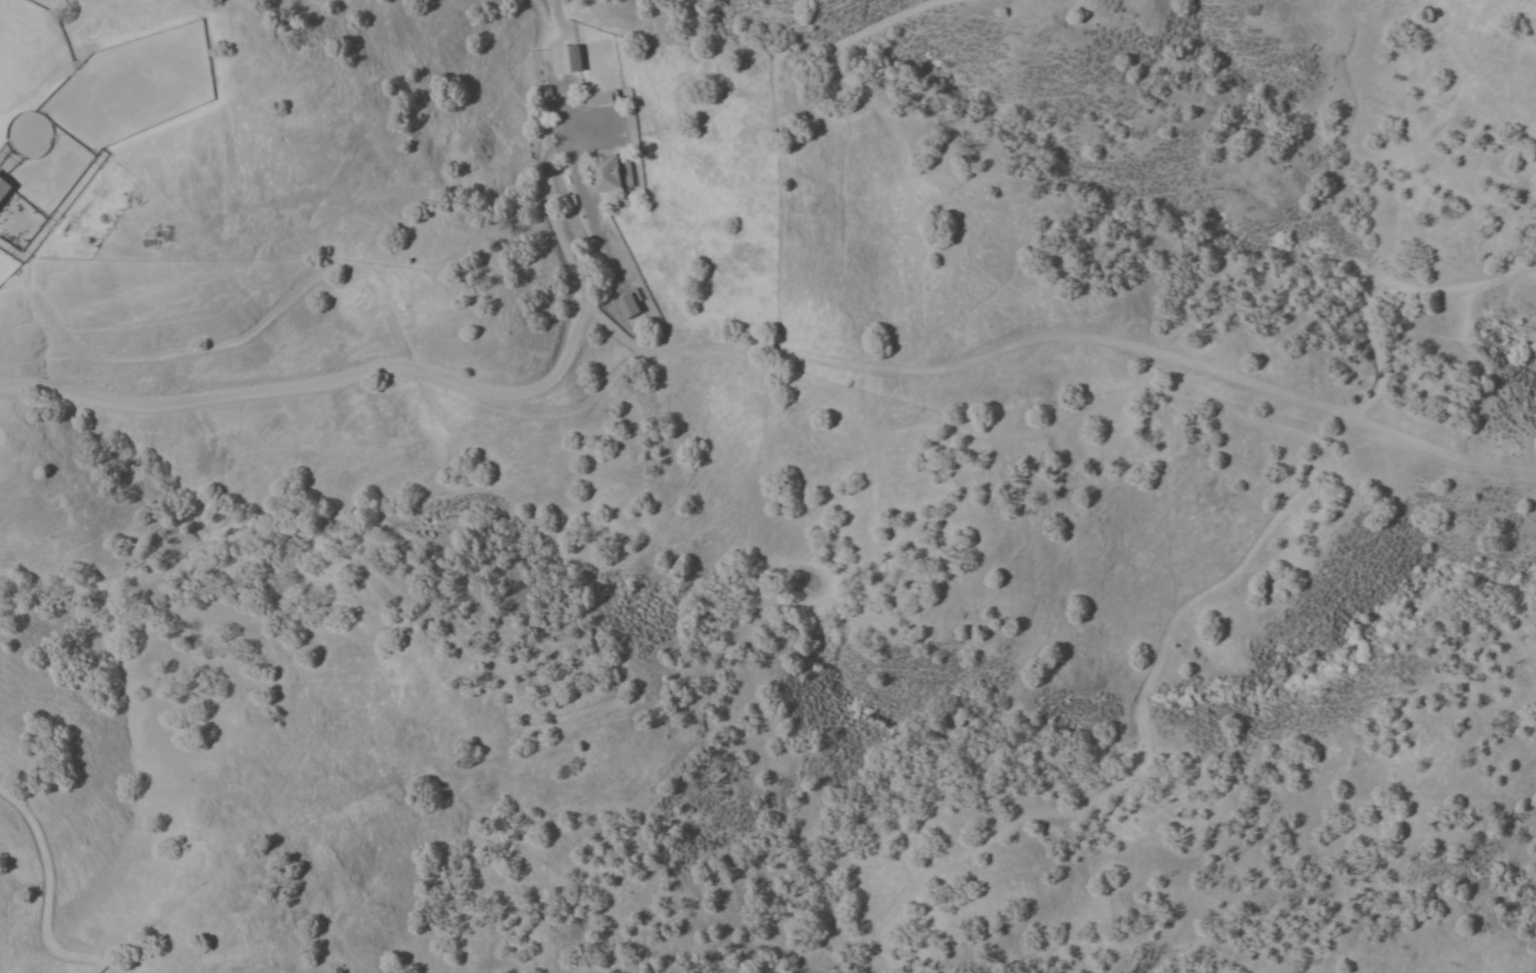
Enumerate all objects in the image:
building: (569, 58)
building: (599, 98)
building: (611, 170)
building: (629, 173)
building: (5, 187)
road: (1465, 282)
building: (627, 304)
road: (1055, 337)
road: (1374, 343)
road: (401, 362)
road: (848, 419)
road: (1244, 559)
road: (42, 901)

